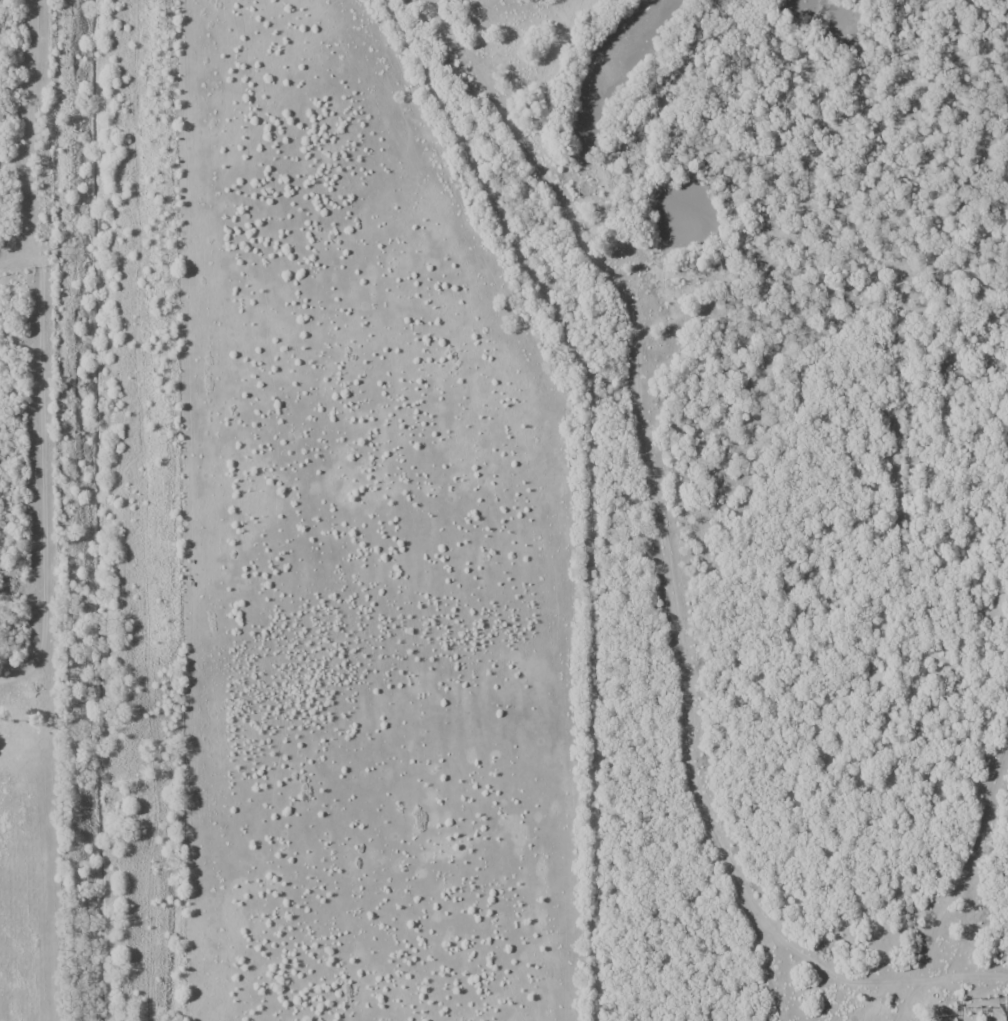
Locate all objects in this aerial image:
road: (886, 392)

